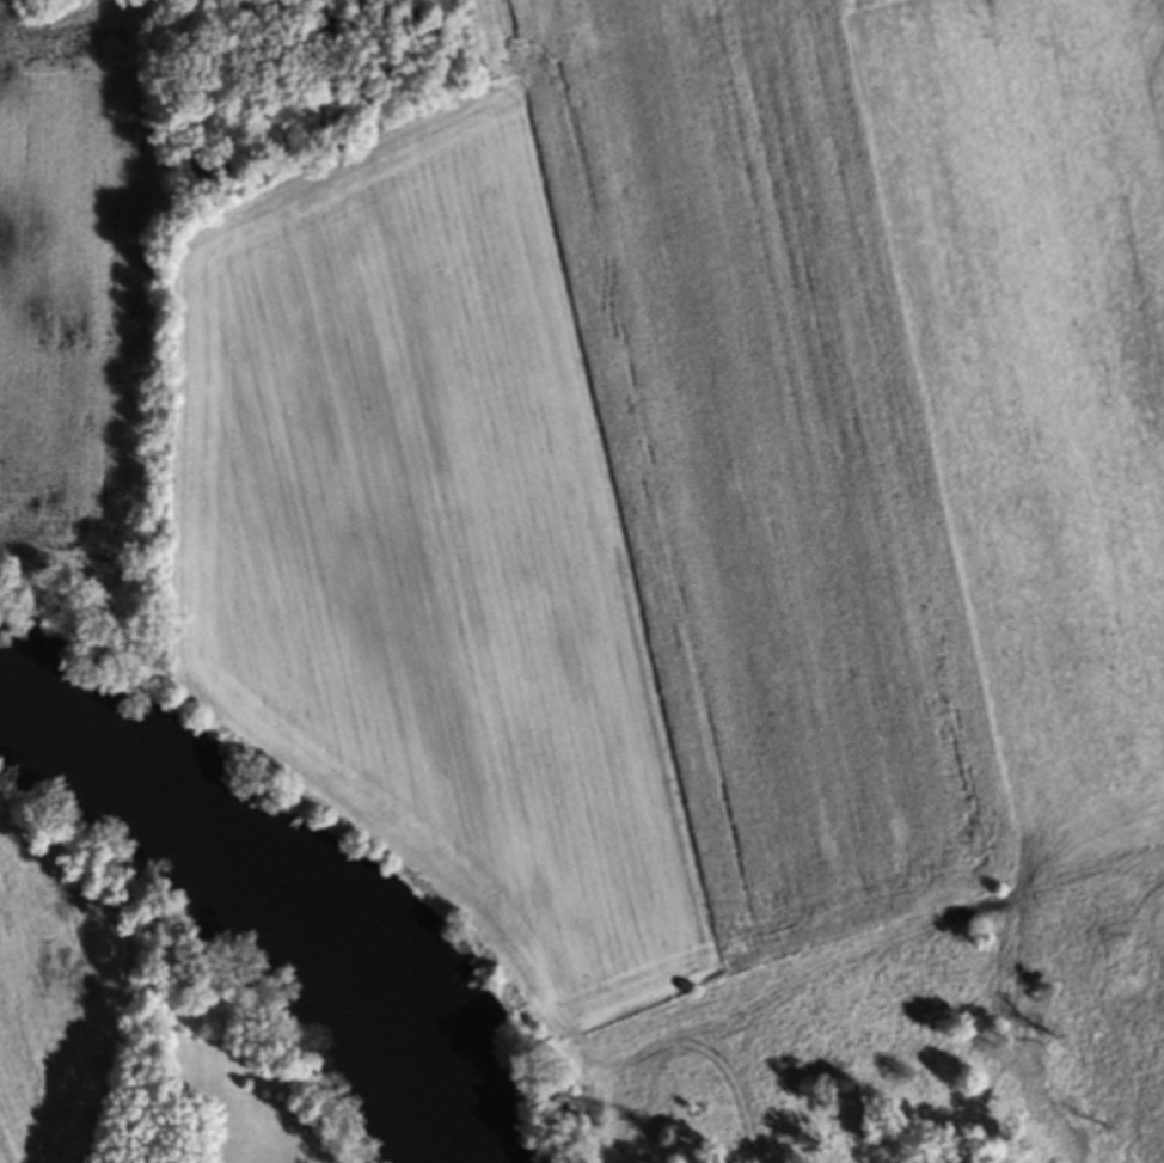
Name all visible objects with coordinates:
river: (278, 886)

